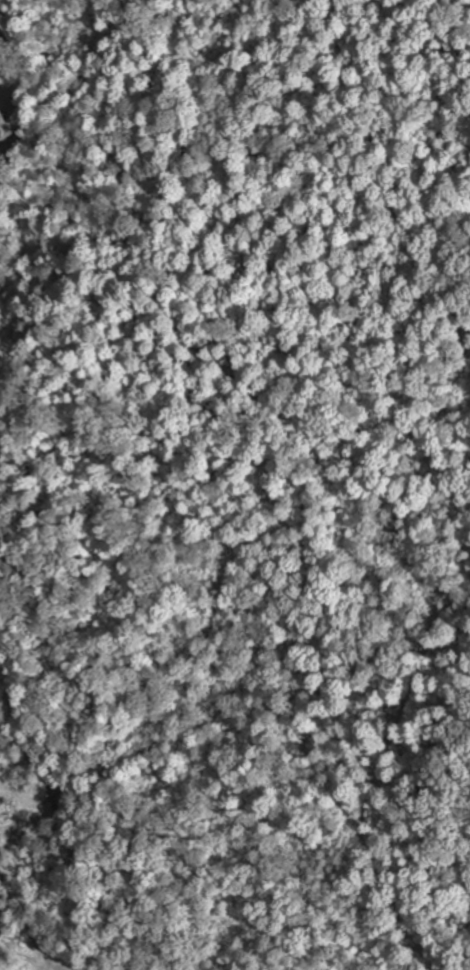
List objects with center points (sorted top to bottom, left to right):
road: (69, 775)

